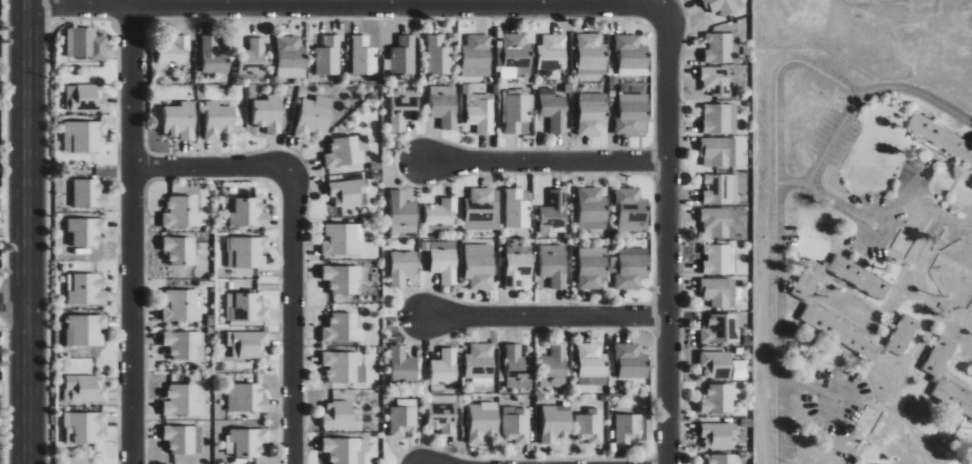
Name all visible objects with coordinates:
road: (344, 4)
building: (720, 6)
building: (86, 43)
building: (717, 48)
building: (175, 51)
building: (590, 51)
building: (551, 52)
building: (363, 55)
building: (437, 55)
building: (631, 55)
building: (213, 56)
building: (328, 56)
building: (403, 56)
building: (475, 56)
building: (253, 57)
building: (291, 57)
building: (713, 80)
road: (897, 87)
building: (86, 98)
building: (443, 105)
building: (554, 110)
building: (479, 111)
road: (810, 111)
building: (401, 112)
building: (517, 112)
building: (269, 113)
building: (592, 113)
building: (631, 114)
building: (314, 117)
building: (219, 119)
building: (716, 119)
building: (181, 120)
building: (84, 136)
building: (941, 137)
building: (348, 151)
building: (713, 151)
road: (545, 164)
building: (718, 189)
building: (347, 192)
building: (89, 194)
road: (836, 199)
building: (515, 209)
building: (554, 209)
building: (591, 209)
building: (631, 209)
building: (182, 211)
building: (440, 212)
building: (249, 213)
building: (402, 213)
building: (712, 222)
building: (87, 231)
road: (20, 232)
road: (128, 234)
road: (668, 236)
road: (293, 237)
building: (343, 239)
building: (181, 250)
building: (250, 251)
building: (713, 260)
building: (444, 261)
building: (554, 264)
building: (479, 266)
building: (403, 267)
building: (591, 267)
building: (631, 268)
building: (517, 270)
building: (856, 277)
building: (343, 278)
building: (804, 280)
building: (715, 292)
road: (10, 301)
building: (182, 306)
building: (246, 307)
road: (546, 318)
road: (774, 326)
building: (343, 327)
building: (86, 330)
building: (716, 330)
building: (838, 333)
building: (900, 335)
building: (185, 344)
building: (248, 344)
building: (936, 356)
building: (592, 360)
building: (631, 361)
building: (480, 363)
building: (711, 364)
building: (402, 365)
building: (344, 367)
building: (444, 367)
building: (517, 367)
building: (553, 367)
building: (592, 381)
road: (810, 386)
building: (85, 389)
building: (247, 398)
building: (714, 399)
building: (951, 399)
building: (183, 400)
building: (340, 415)
building: (402, 417)
building: (441, 417)
building: (483, 421)
building: (556, 422)
building: (516, 424)
building: (590, 426)
building: (85, 427)
building: (628, 429)
building: (184, 439)
building: (247, 442)
building: (347, 450)
building: (719, 459)

